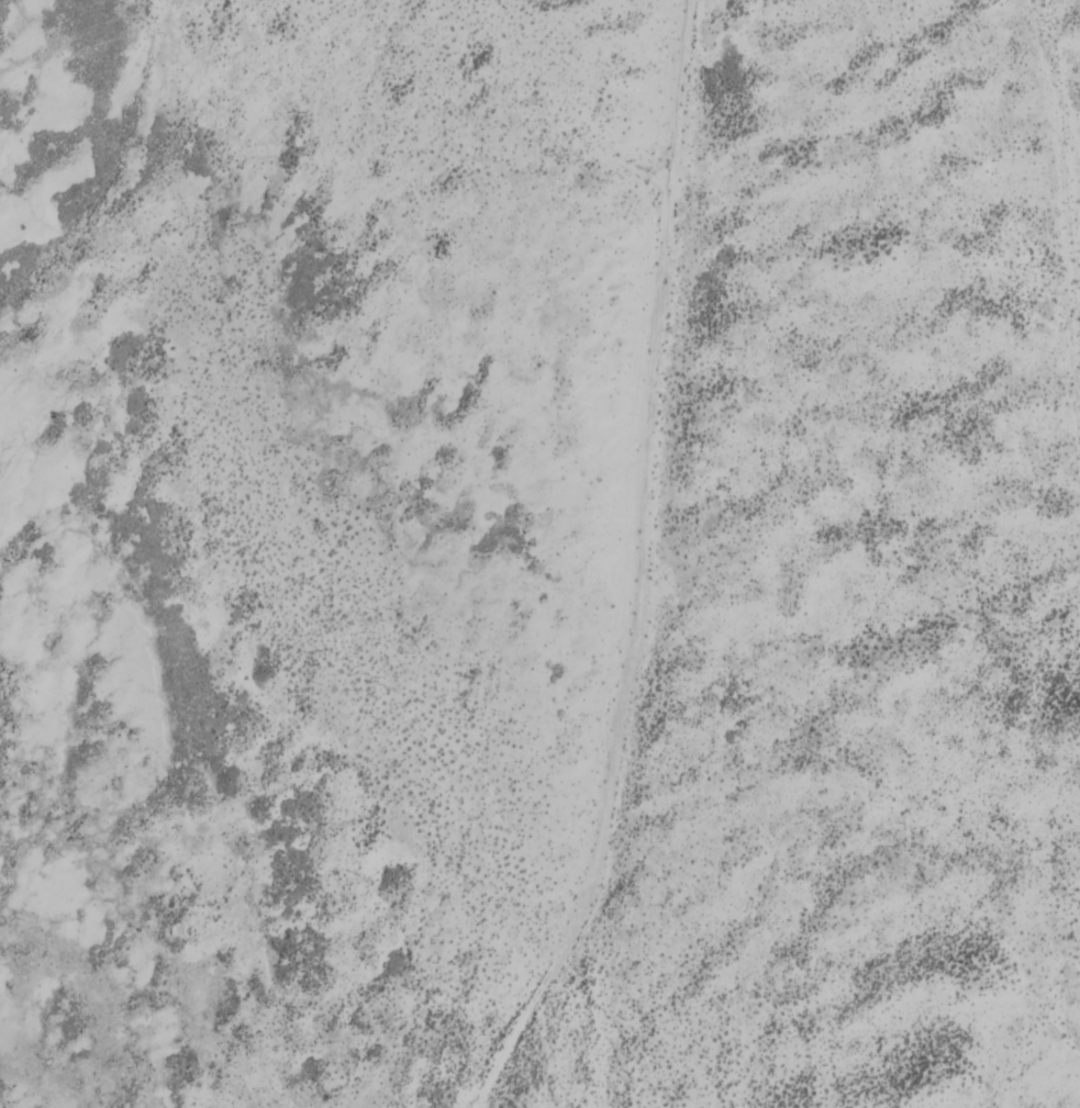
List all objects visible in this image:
road: (686, 567)

